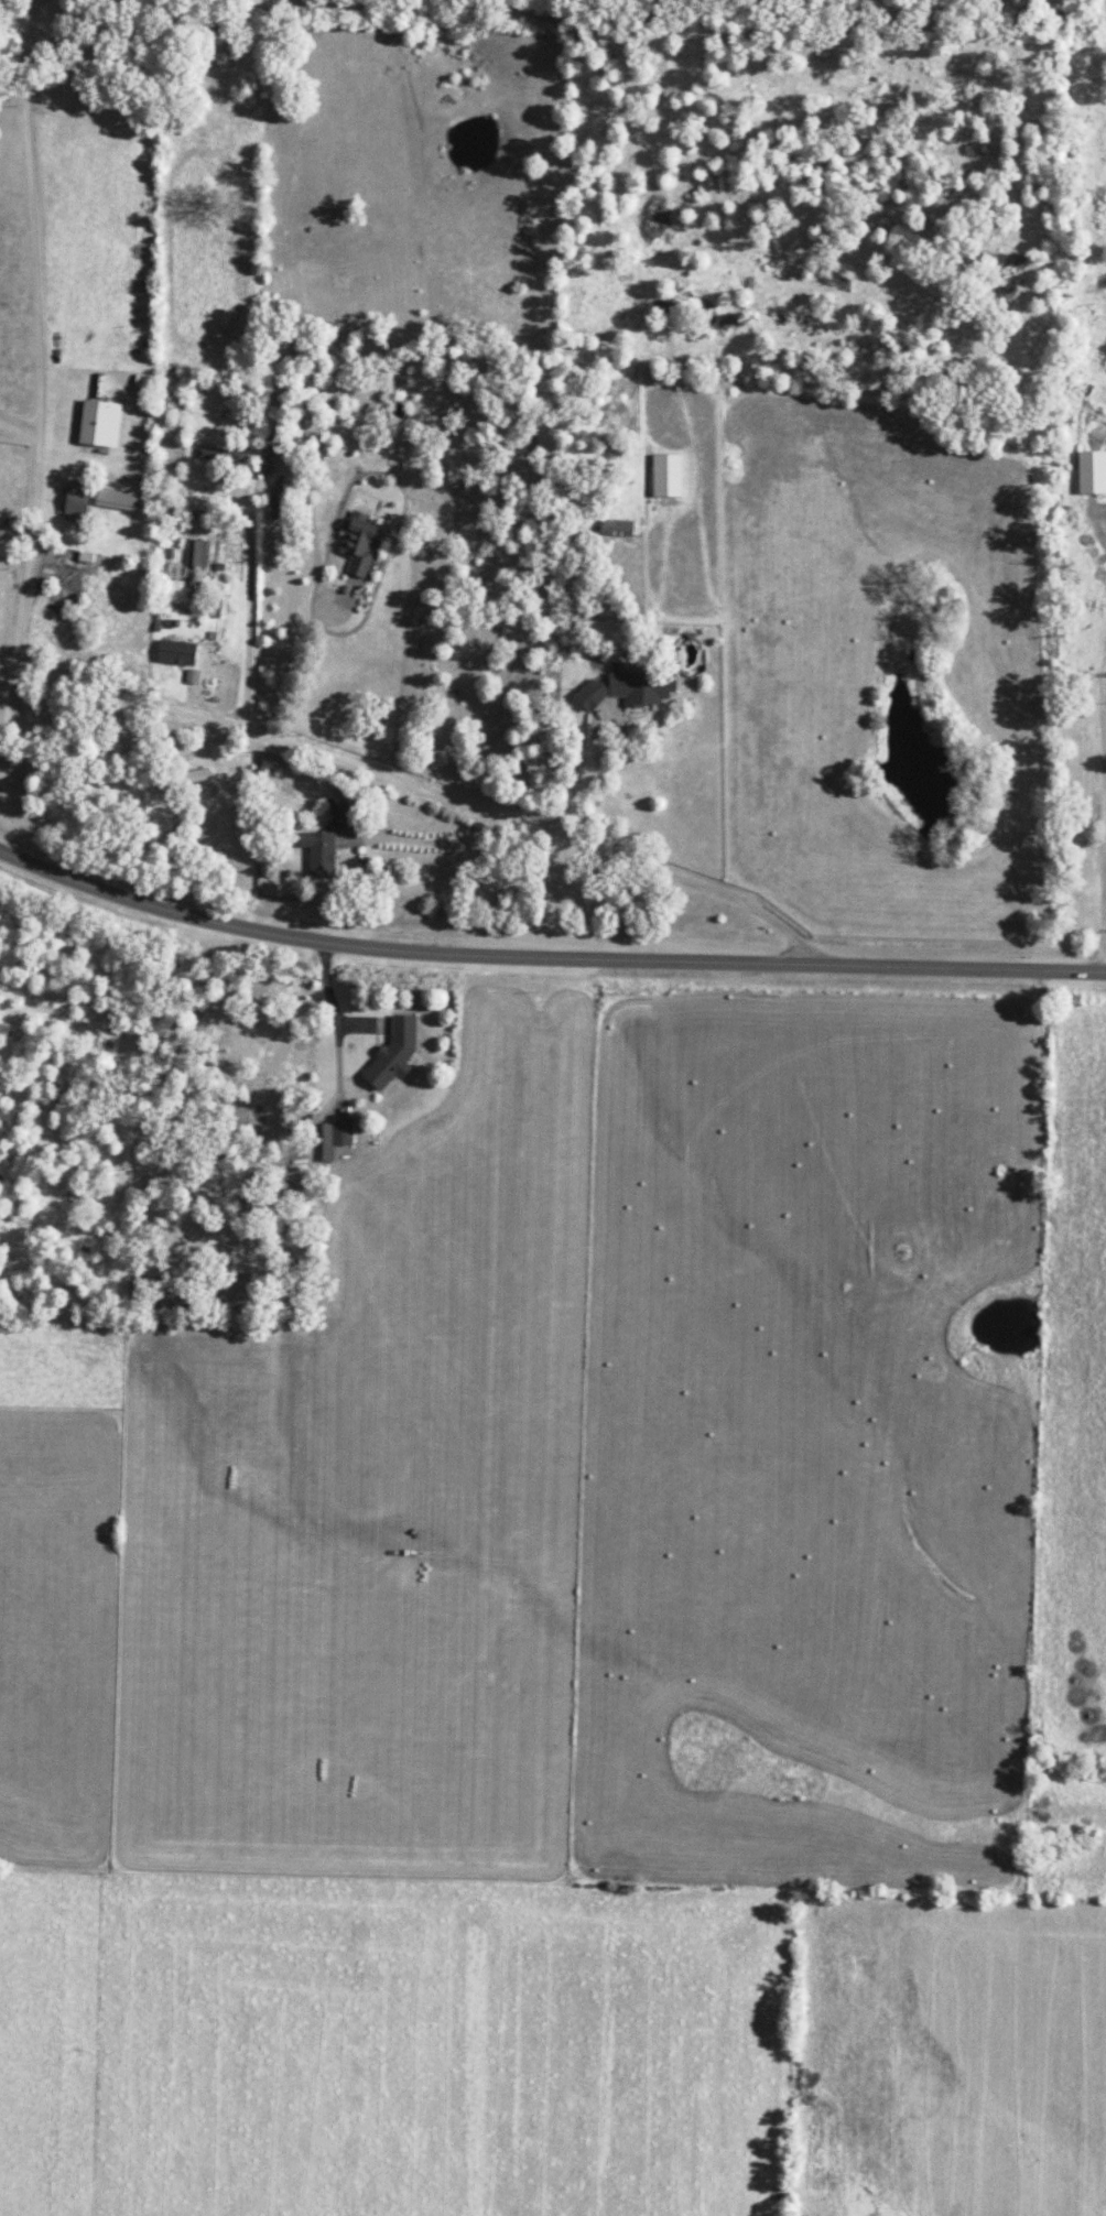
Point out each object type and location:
road: (29, 215)
road: (19, 423)
building: (99, 423)
building: (219, 454)
building: (264, 463)
building: (1092, 472)
building: (665, 476)
building: (117, 499)
building: (76, 501)
building: (615, 528)
building: (359, 543)
building: (195, 553)
road: (26, 557)
road: (245, 597)
building: (176, 652)
building: (628, 687)
building: (197, 775)
road: (397, 781)
building: (343, 815)
building: (229, 824)
road: (1104, 849)
building: (318, 854)
road: (545, 954)
building: (393, 1053)
building: (334, 1138)

